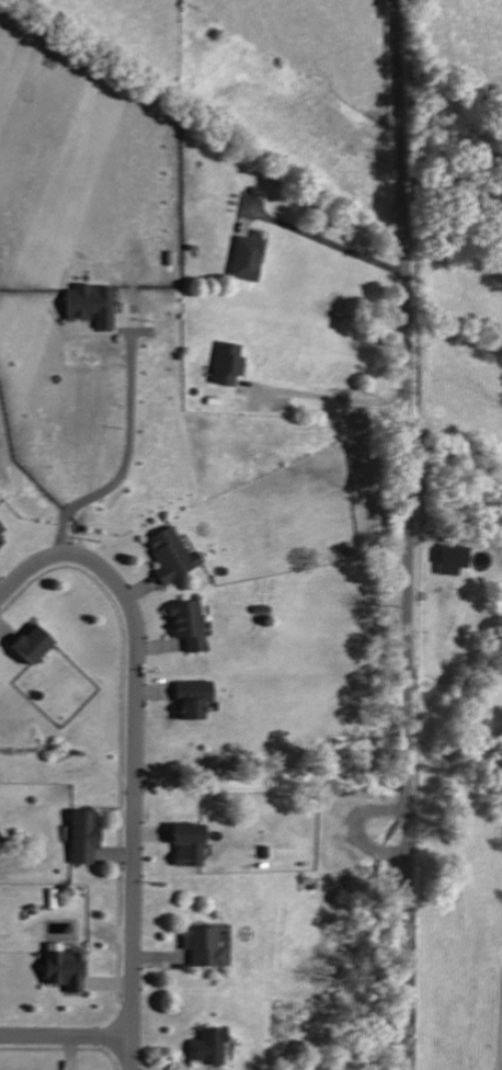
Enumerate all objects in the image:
road: (324, 239)
building: (244, 258)
building: (88, 304)
building: (226, 364)
road: (339, 396)
road: (122, 460)
building: (0, 528)
road: (409, 534)
building: (0, 540)
building: (169, 555)
building: (184, 624)
building: (26, 645)
building: (187, 698)
road: (135, 752)
building: (80, 838)
building: (184, 844)
building: (199, 946)
building: (60, 970)
road: (66, 1036)
building: (204, 1048)

